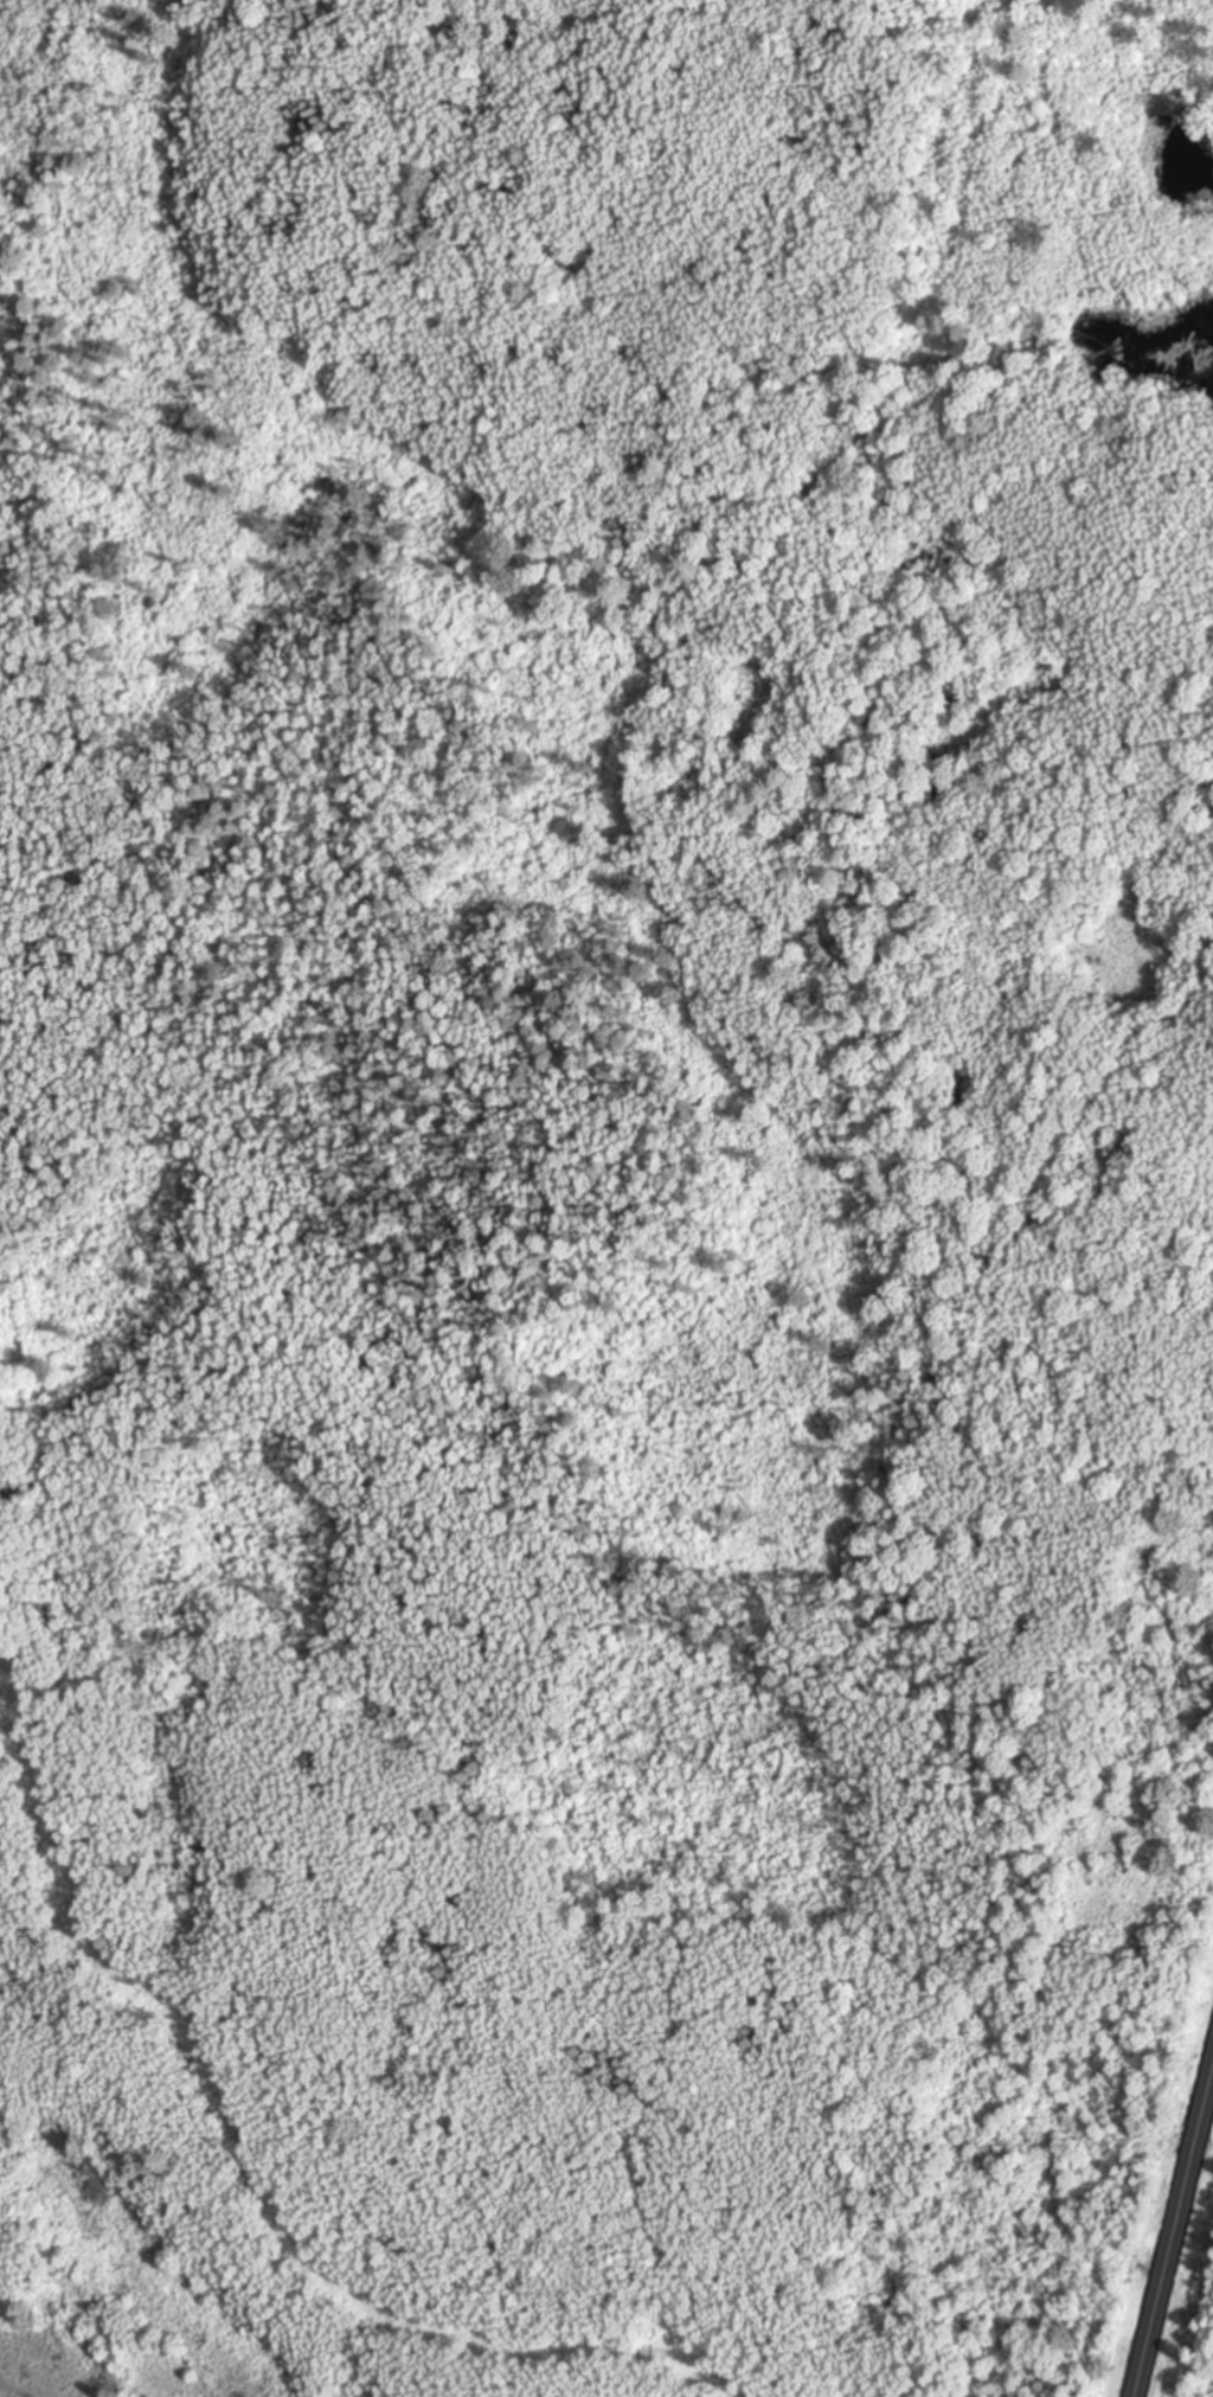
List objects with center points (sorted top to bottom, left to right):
road: (1172, 2224)

